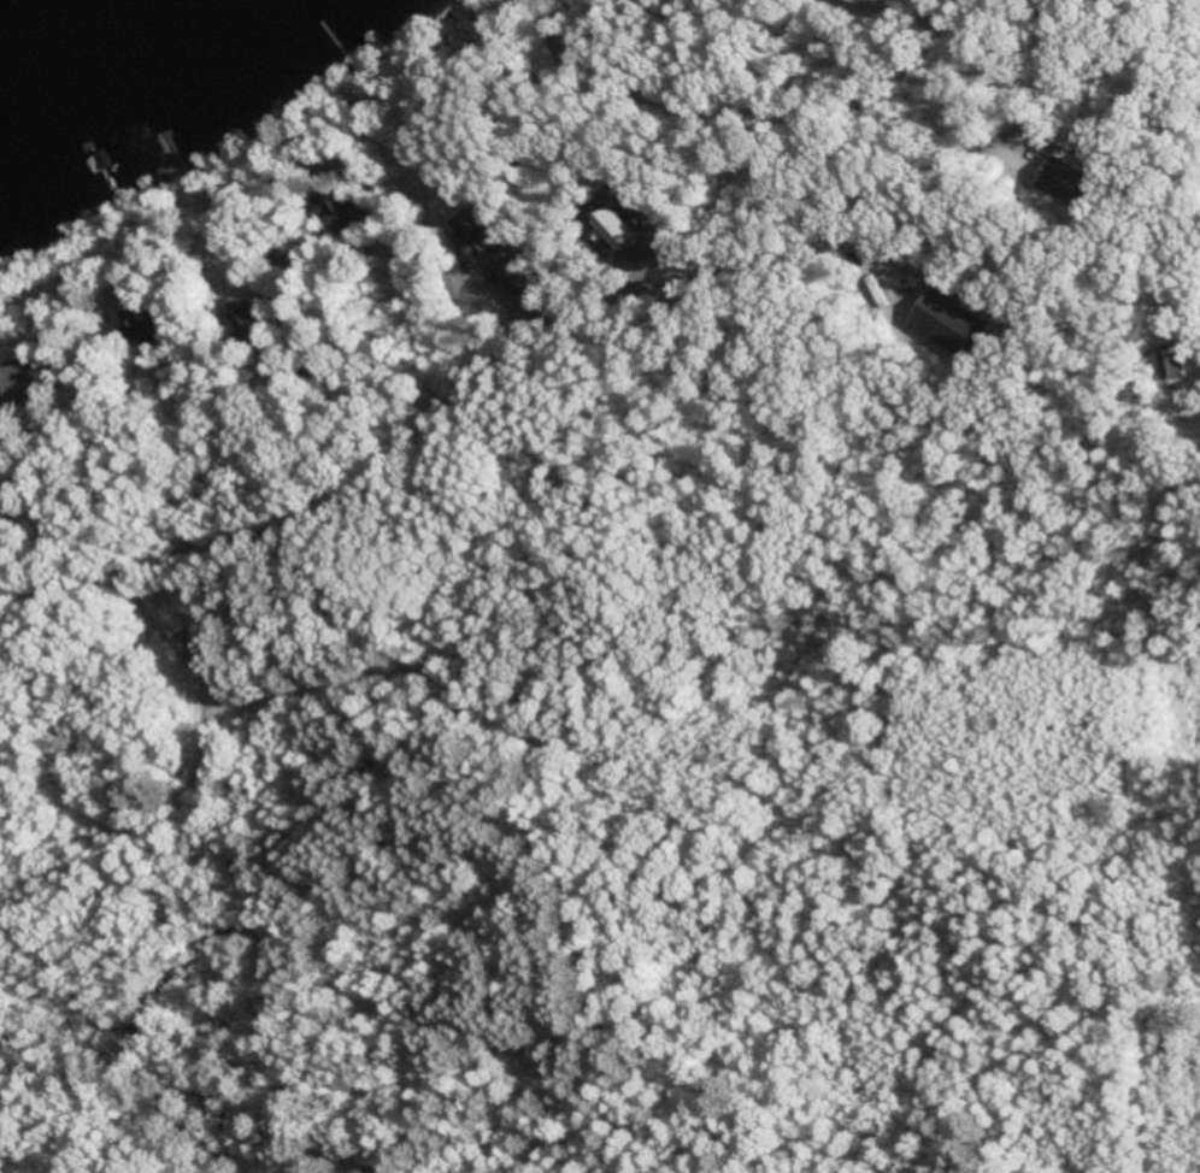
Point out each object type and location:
building: (1070, 182)
building: (339, 212)
building: (611, 228)
building: (949, 325)
building: (149, 326)
building: (1172, 362)
building: (20, 389)
road: (120, 593)

